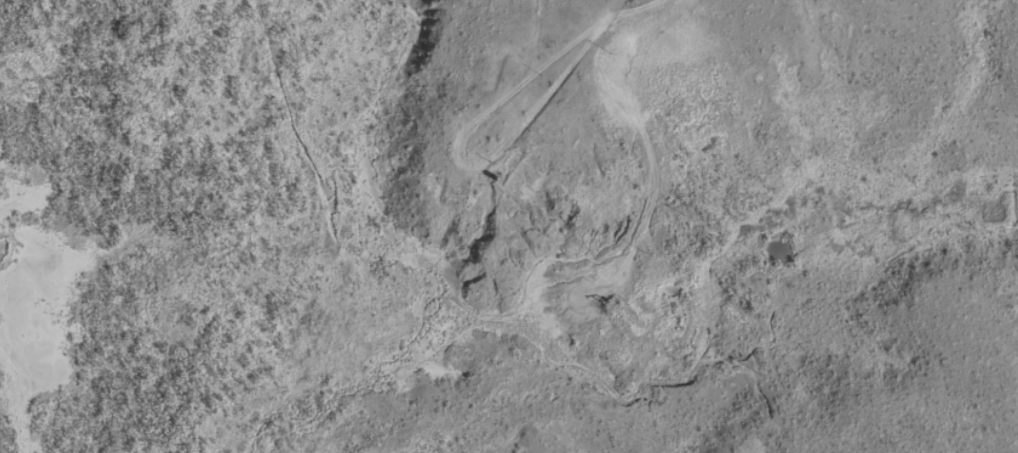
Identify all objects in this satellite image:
road: (551, 211)
road: (1, 440)

